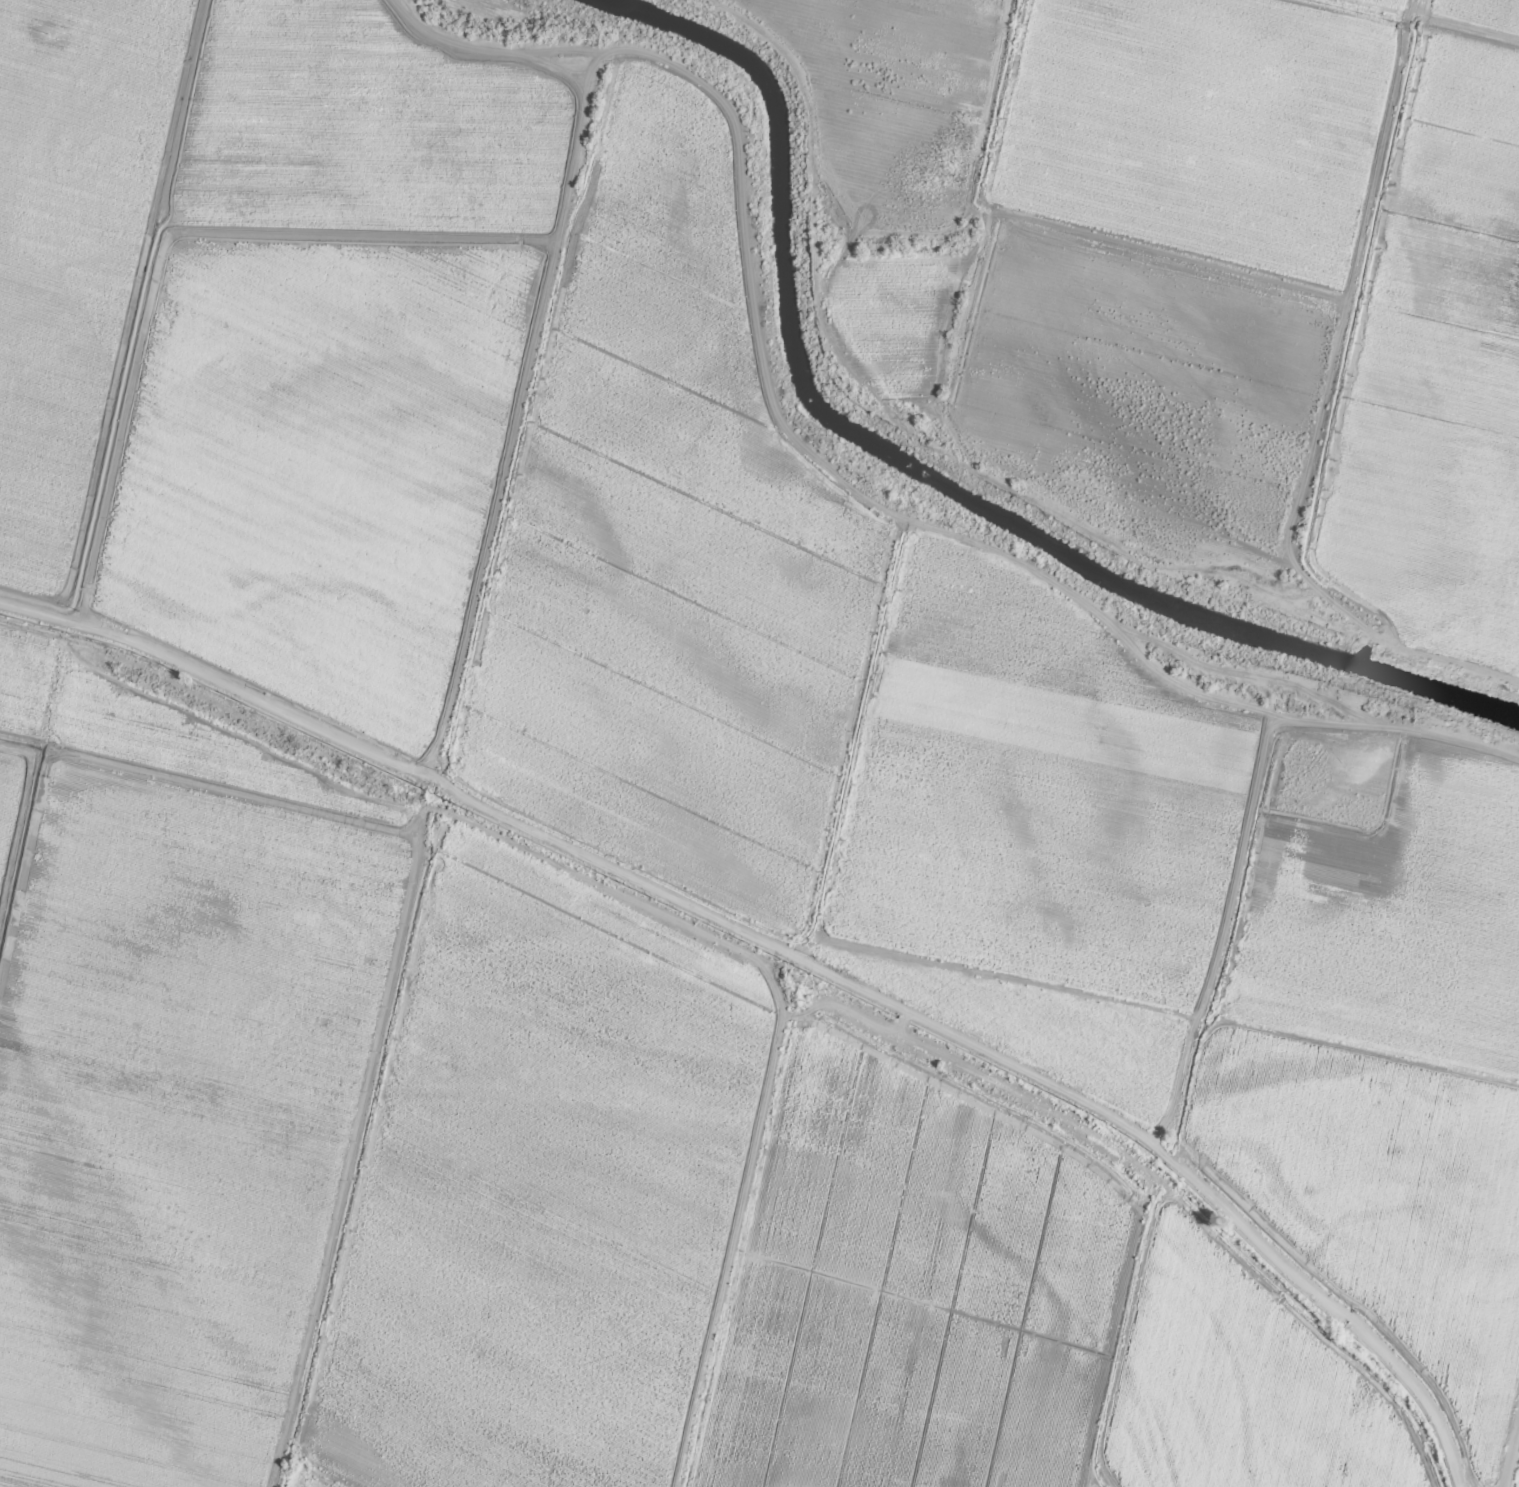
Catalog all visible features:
crop: (532, 1182)

